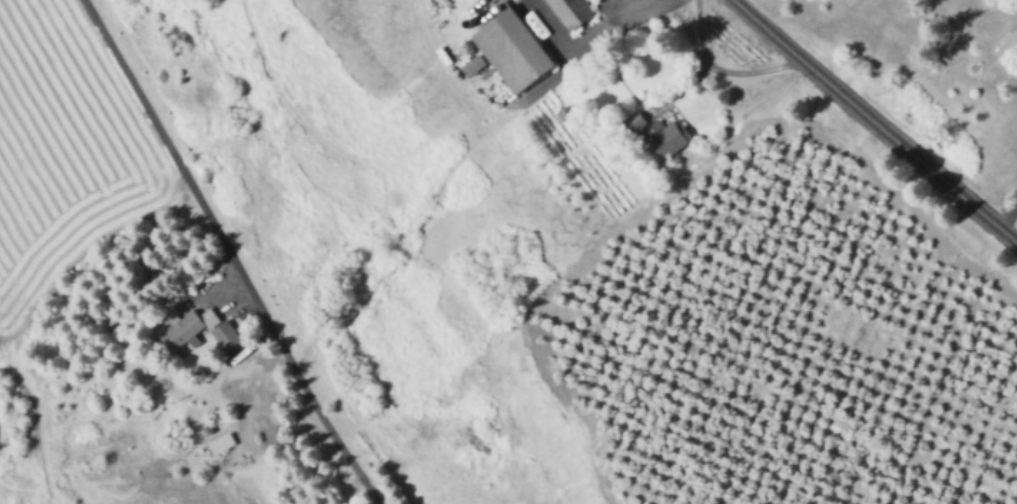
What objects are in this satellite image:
road: (614, 0)
road: (666, 3)
road: (639, 4)
building: (570, 11)
road: (546, 26)
building: (514, 50)
road: (566, 51)
building: (472, 63)
road: (721, 63)
road: (450, 73)
building: (636, 121)
road: (875, 121)
building: (668, 136)
road: (1007, 214)
road: (228, 254)
building: (211, 317)
building: (180, 329)
building: (229, 336)
crop: (178, 379)
building: (223, 443)

